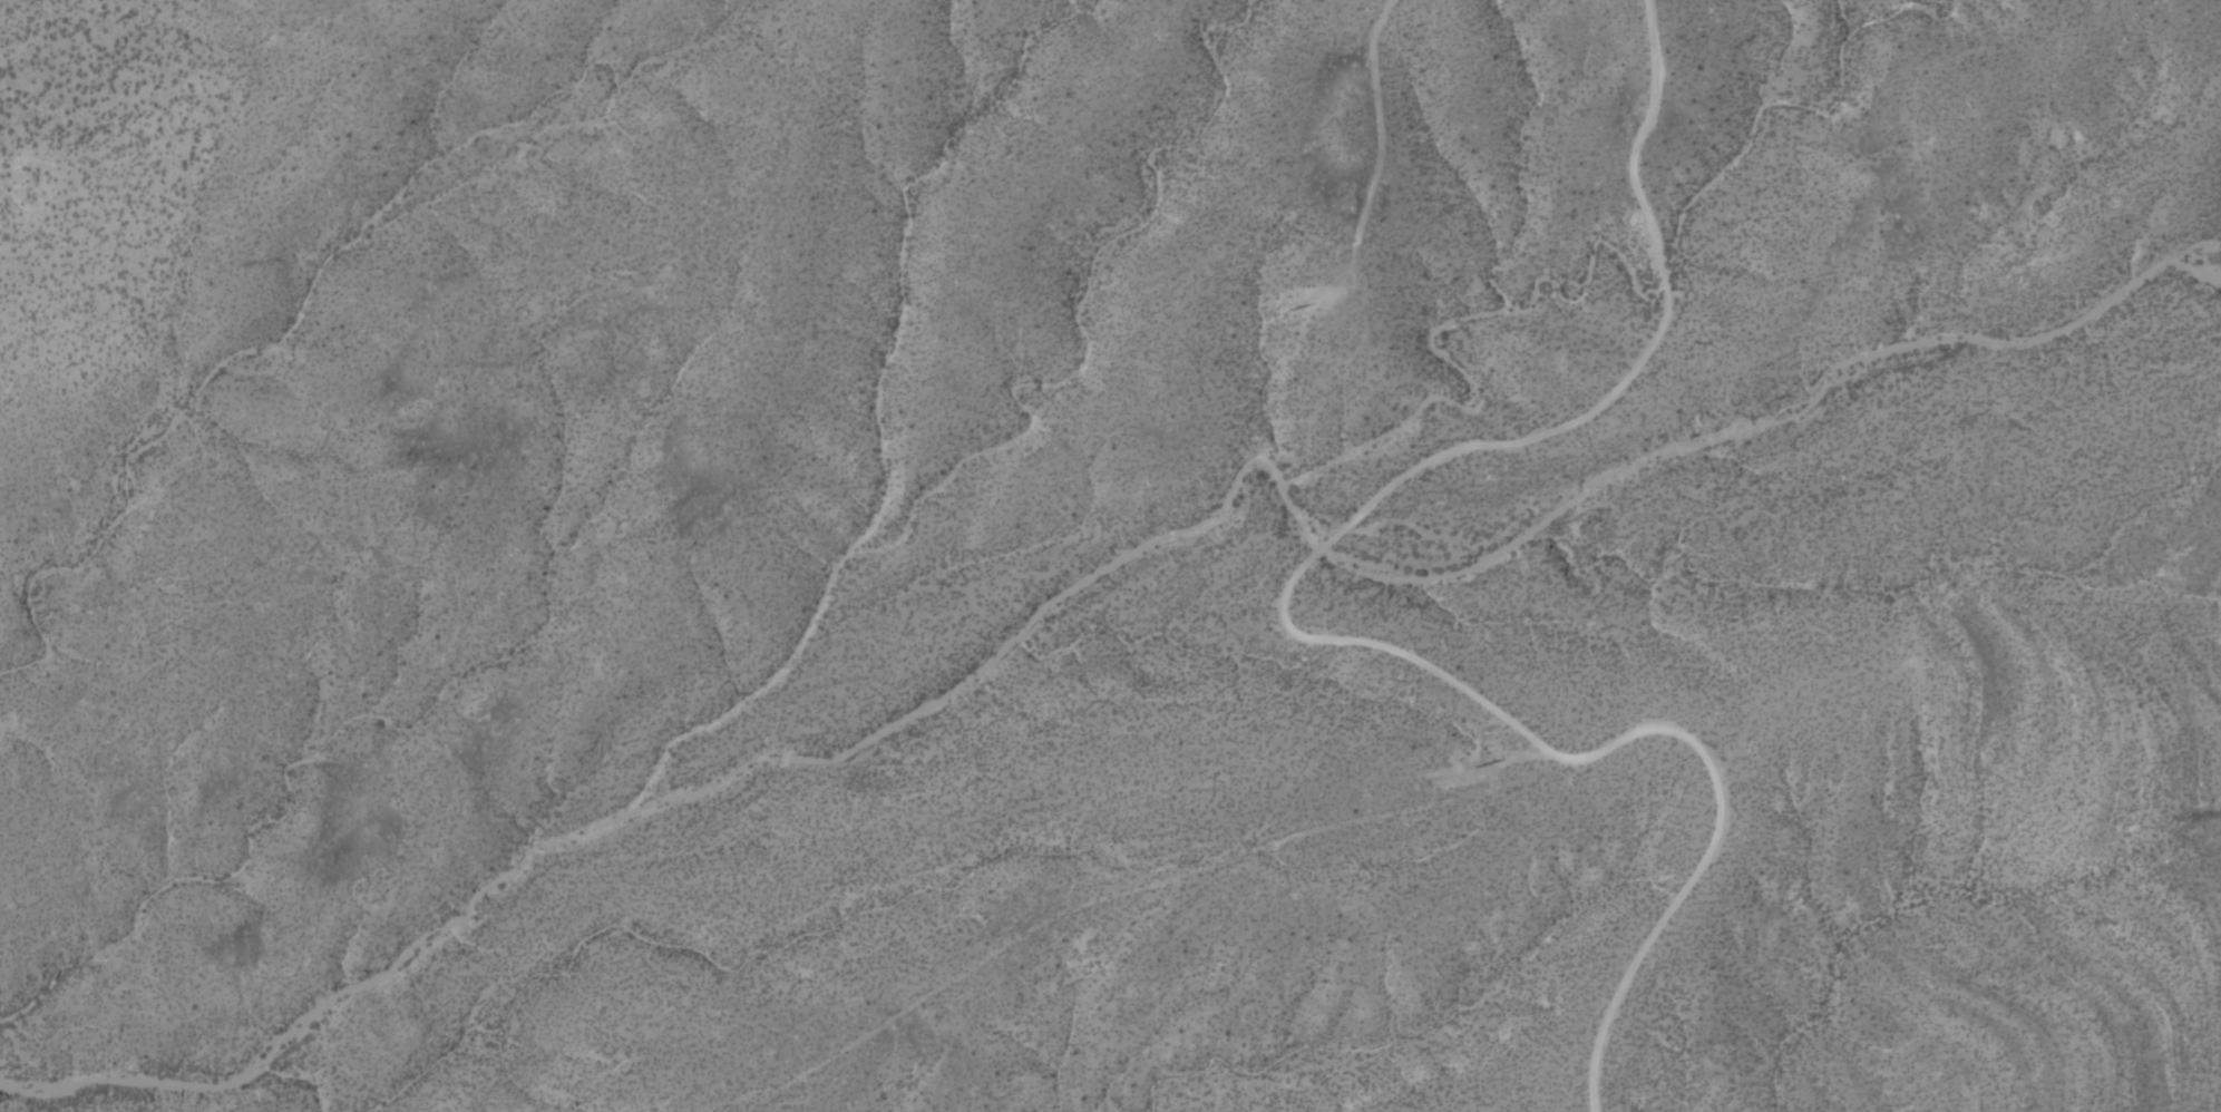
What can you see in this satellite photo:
power tower: (1292, 312)
road: (1290, 630)
power tower: (1478, 768)

